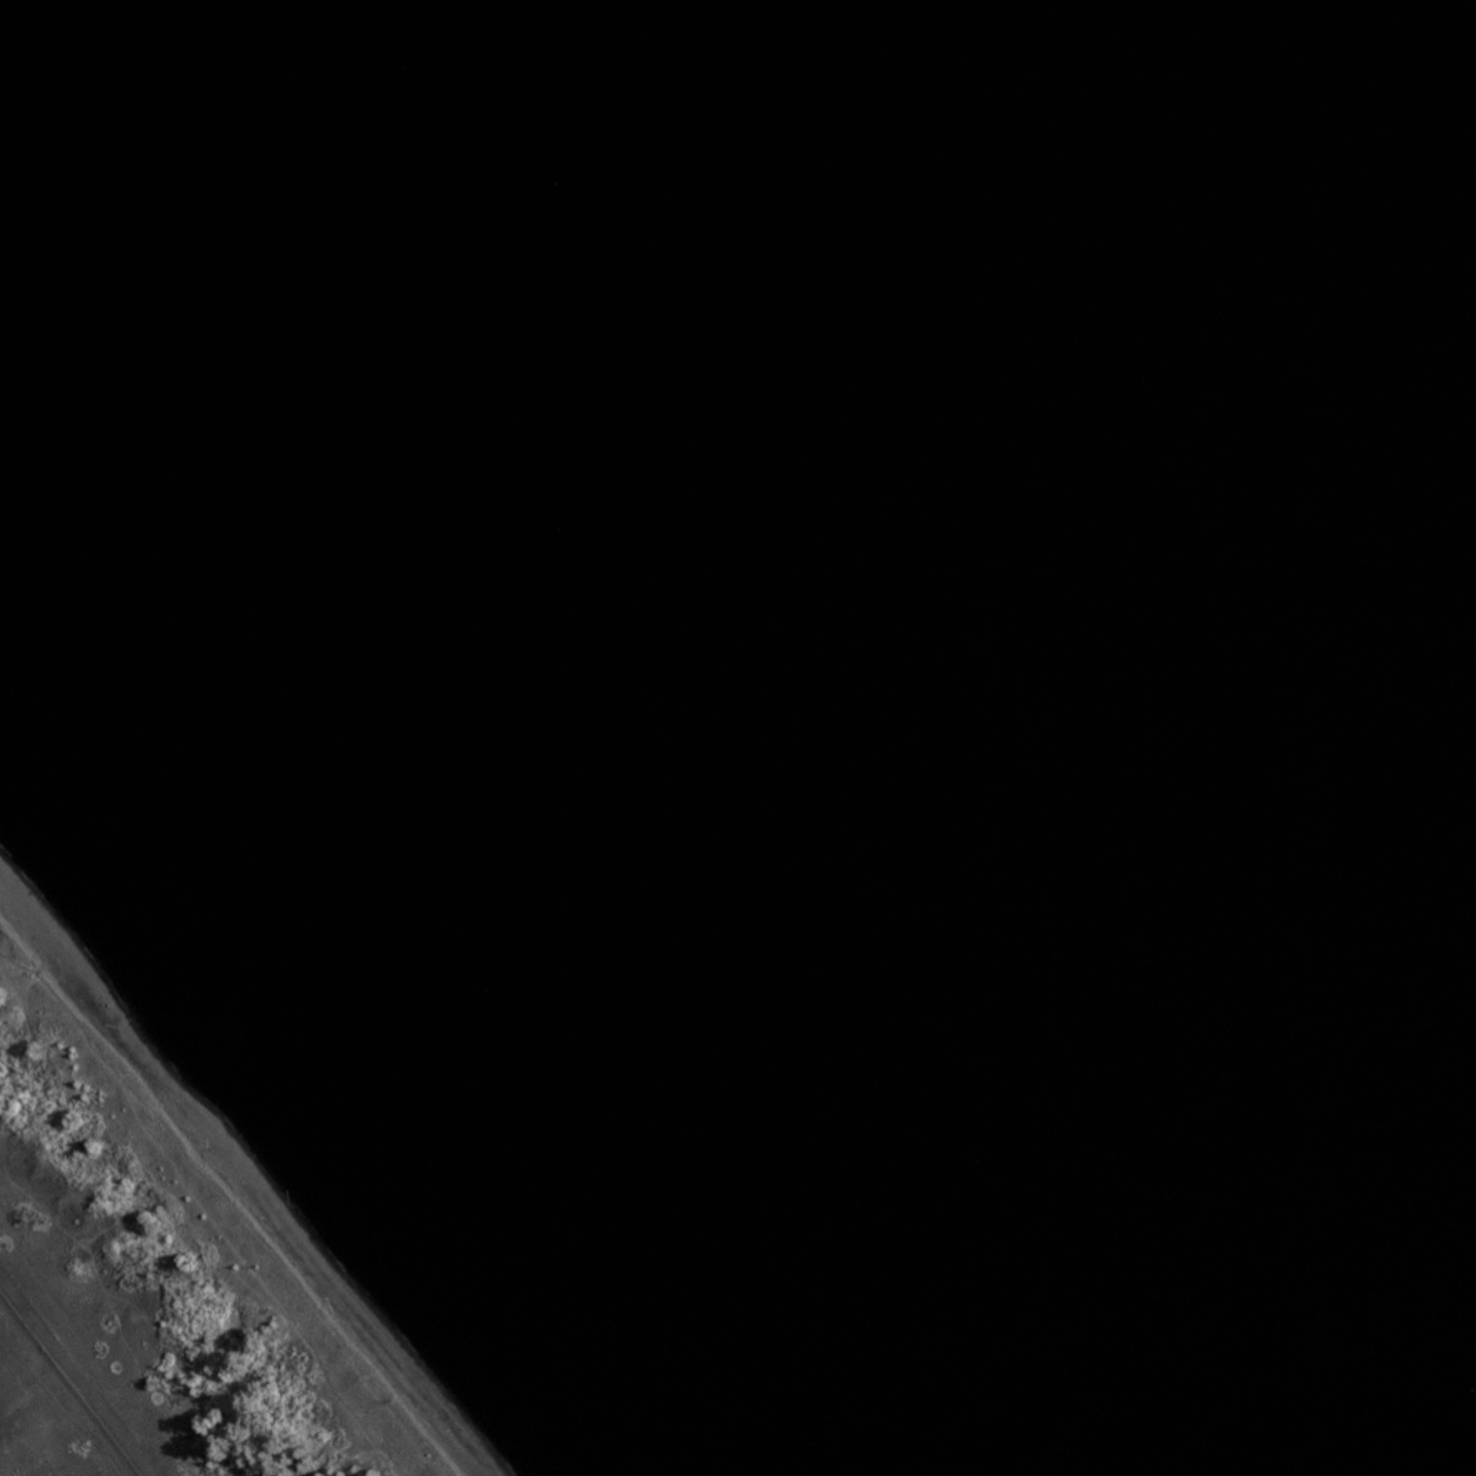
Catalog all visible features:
road: (74, 1376)
airport: (46, 1414)

